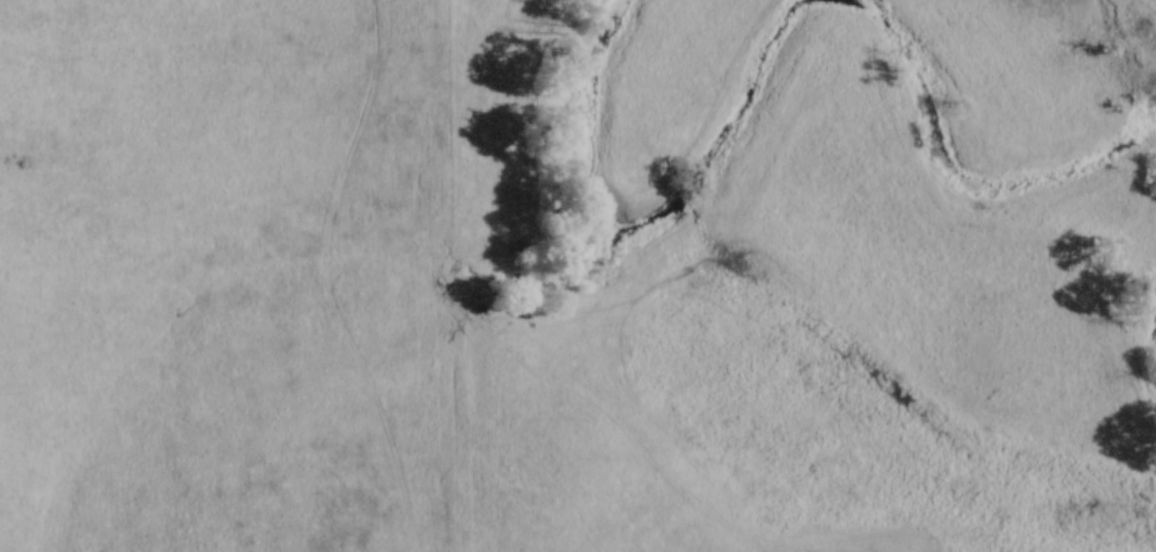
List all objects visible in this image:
river: (953, 175)
river: (636, 228)
river: (1135, 350)

